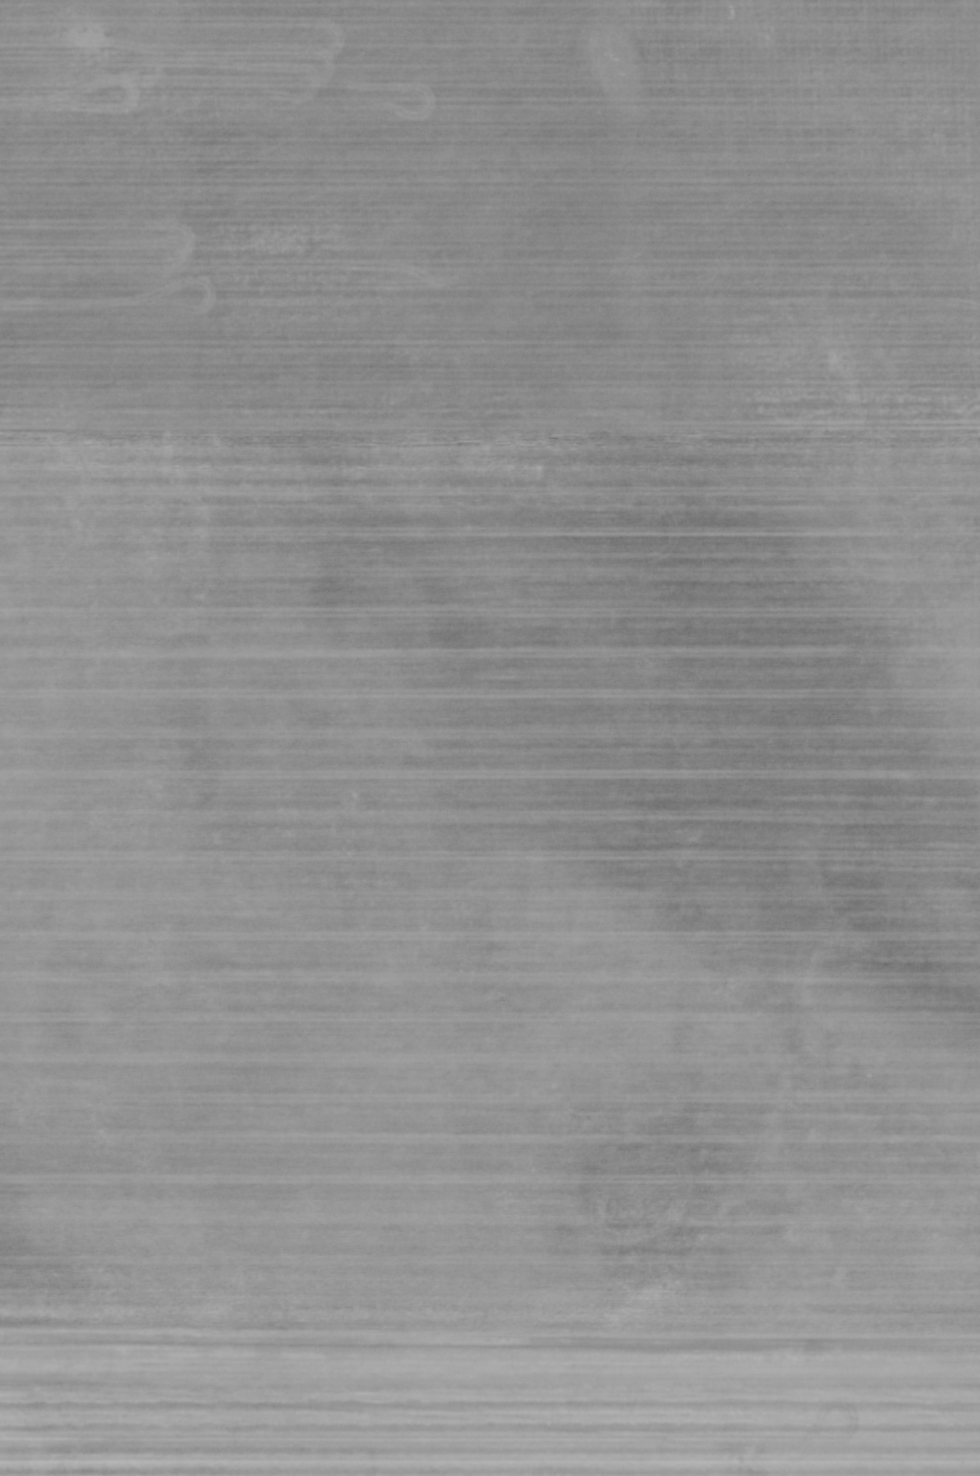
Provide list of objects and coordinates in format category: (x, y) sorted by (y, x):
crop: (490, 738)

